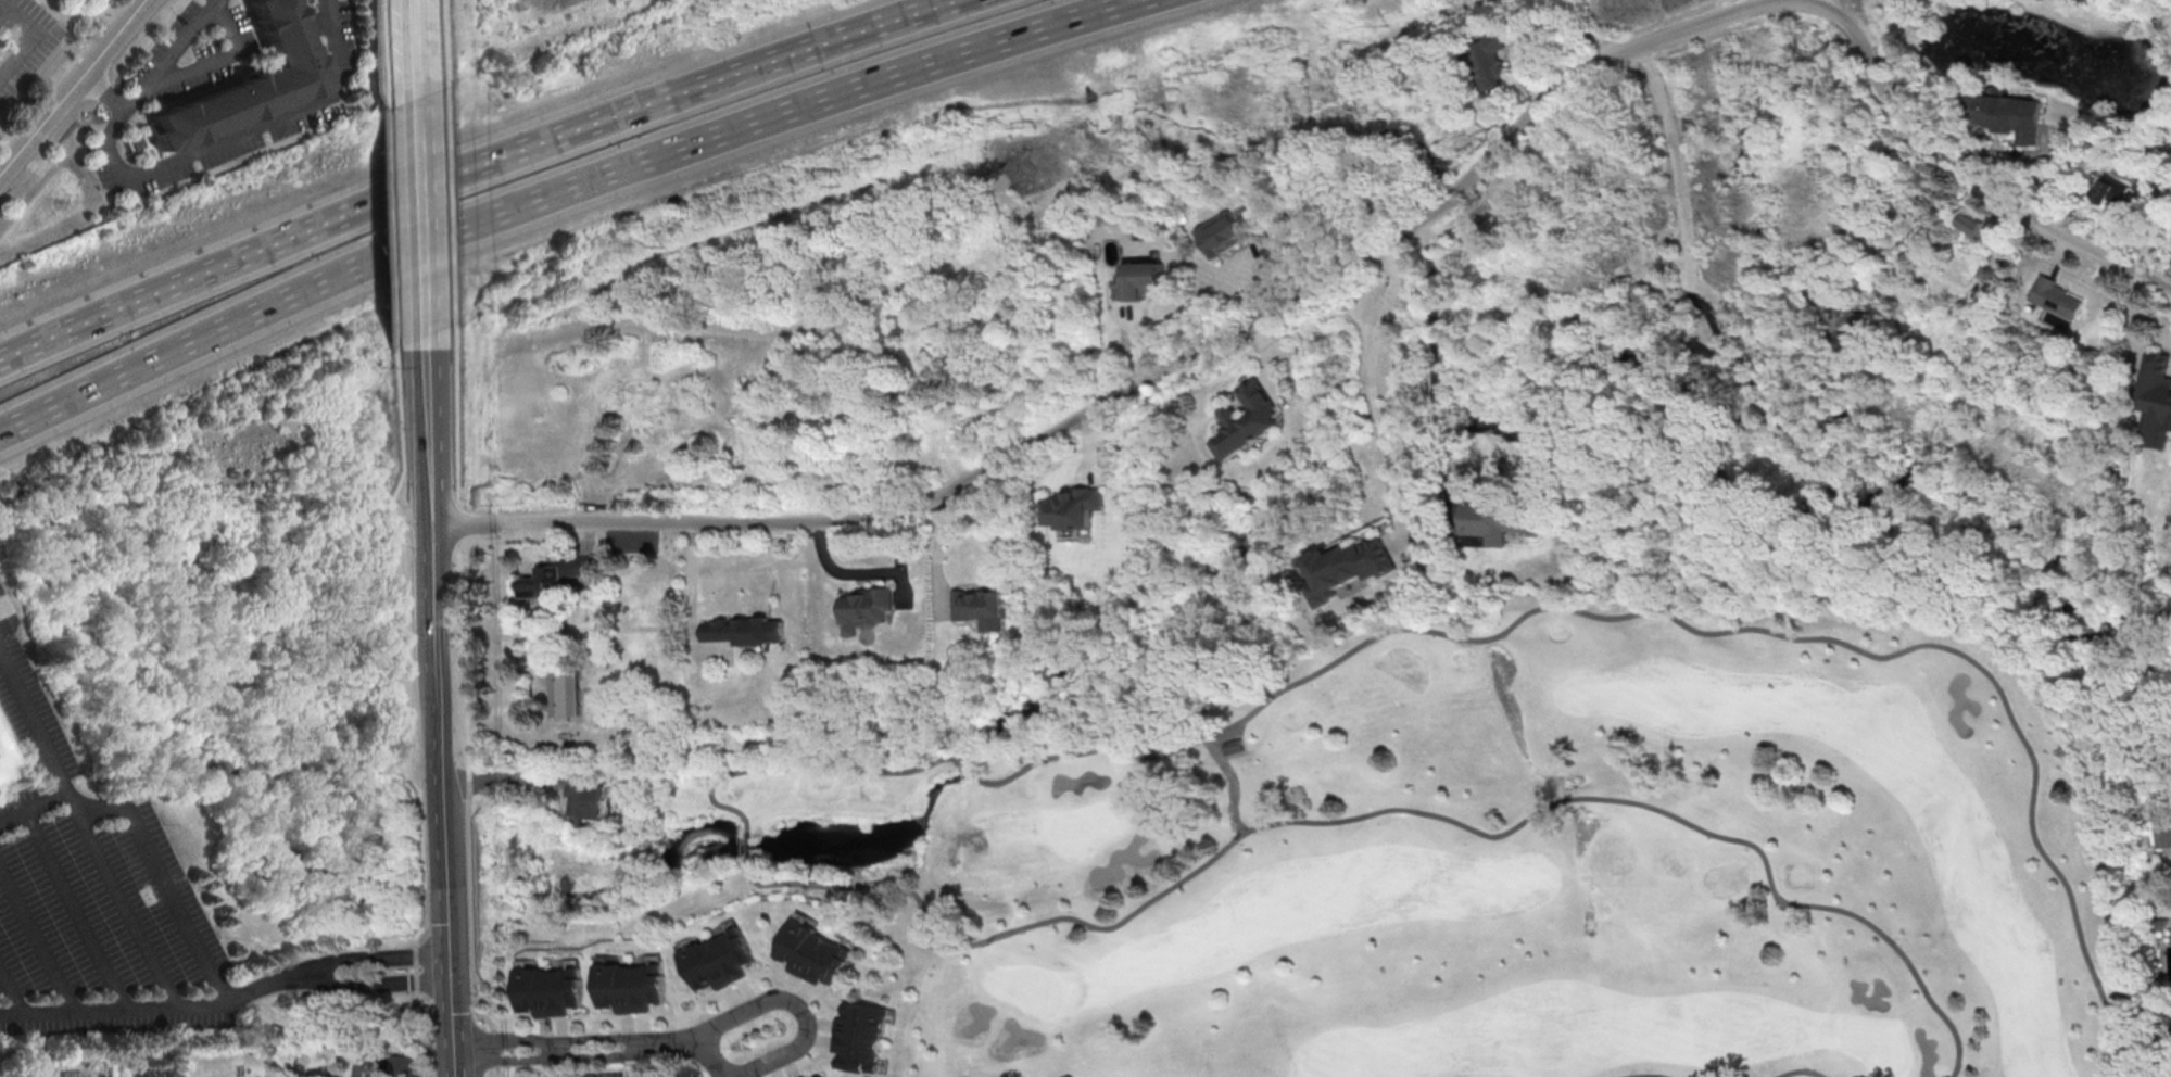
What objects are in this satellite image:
road: (1825, 1)
road: (1771, 2)
road: (1746, 9)
road: (1842, 20)
road: (35, 39)
road: (442, 40)
road: (386, 41)
road: (415, 42)
road: (174, 52)
road: (1620, 53)
building: (1487, 60)
road: (1869, 60)
building: (255, 84)
road: (109, 88)
road: (73, 90)
building: (2007, 114)
road: (1513, 129)
road: (241, 135)
road: (1678, 162)
road: (476, 168)
road: (559, 192)
building: (2113, 193)
road: (2005, 195)
road: (420, 211)
road: (447, 214)
road: (391, 215)
building: (1226, 231)
building: (1138, 279)
road: (1671, 288)
building: (2055, 297)
road: (1434, 311)
road: (1384, 321)
road: (1717, 340)
building: (2154, 400)
road: (1377, 409)
road: (1437, 413)
building: (1241, 418)
road: (1010, 454)
road: (1443, 463)
road: (1394, 482)
building: (1070, 507)
building: (1507, 521)
road: (937, 555)
building: (578, 566)
building: (1348, 568)
road: (855, 572)
building: (543, 582)
road: (692, 600)
building: (867, 607)
building: (983, 607)
road: (1680, 623)
building: (744, 630)
road: (396, 669)
building: (565, 692)
road: (441, 706)
road: (465, 715)
building: (1237, 746)
building: (1, 761)
road: (799, 763)
road: (967, 769)
building: (1, 777)
road: (1233, 785)
building: (589, 799)
road: (33, 808)
road: (126, 808)
road: (1380, 812)
building: (2162, 821)
road: (746, 846)
park: (1463, 860)
parking lot: (92, 898)
road: (123, 903)
road: (75, 911)
road: (38, 937)
building: (818, 948)
road: (381, 954)
building: (720, 958)
traffic signals: (451, 966)
road: (269, 981)
road: (383, 983)
building: (633, 983)
building: (550, 987)
road: (12, 992)
road: (798, 1004)
road: (113, 1011)
building: (859, 1034)
road: (552, 1038)
road: (694, 1042)
road: (553, 1054)
building: (401, 1064)
road: (1798, 1072)
building: (799, 1074)
building: (821, 1076)

